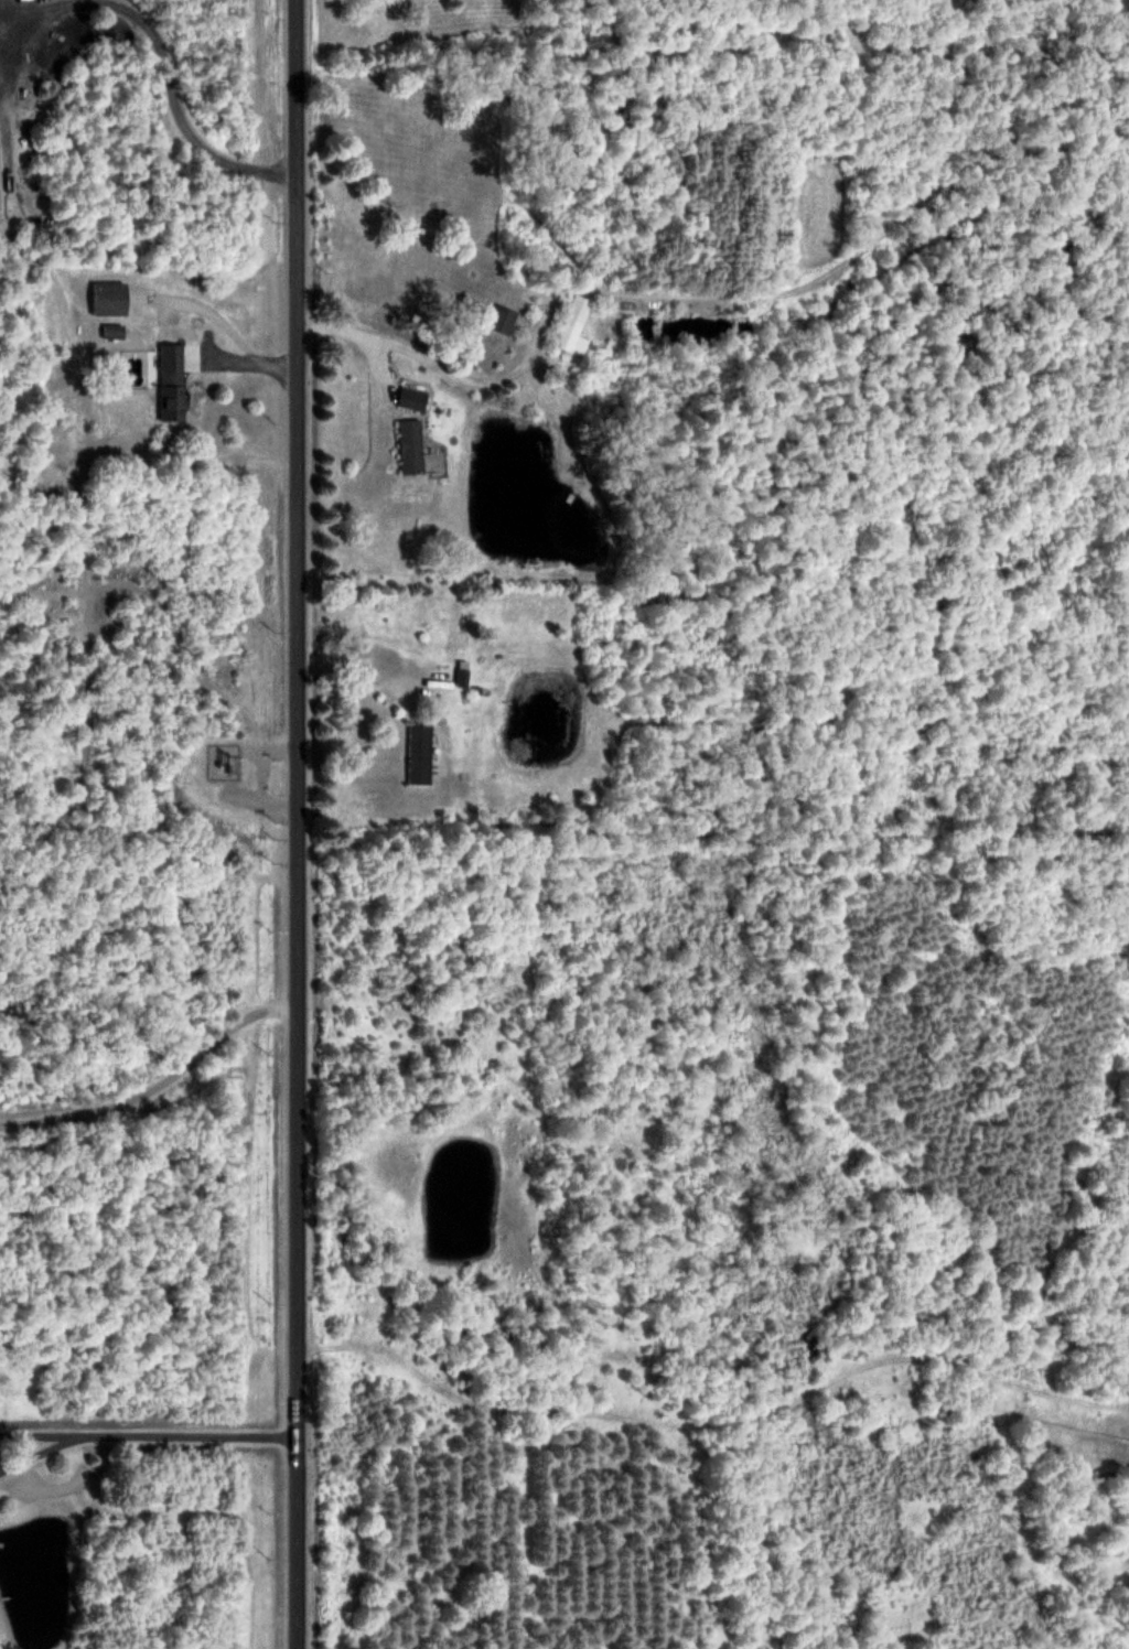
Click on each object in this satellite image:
building: (110, 298)
building: (503, 319)
building: (573, 322)
building: (172, 381)
building: (412, 398)
building: (411, 445)
building: (420, 753)
road: (298, 823)
road: (158, 1085)
road: (44, 1432)
road: (192, 1433)
road: (44, 1451)

